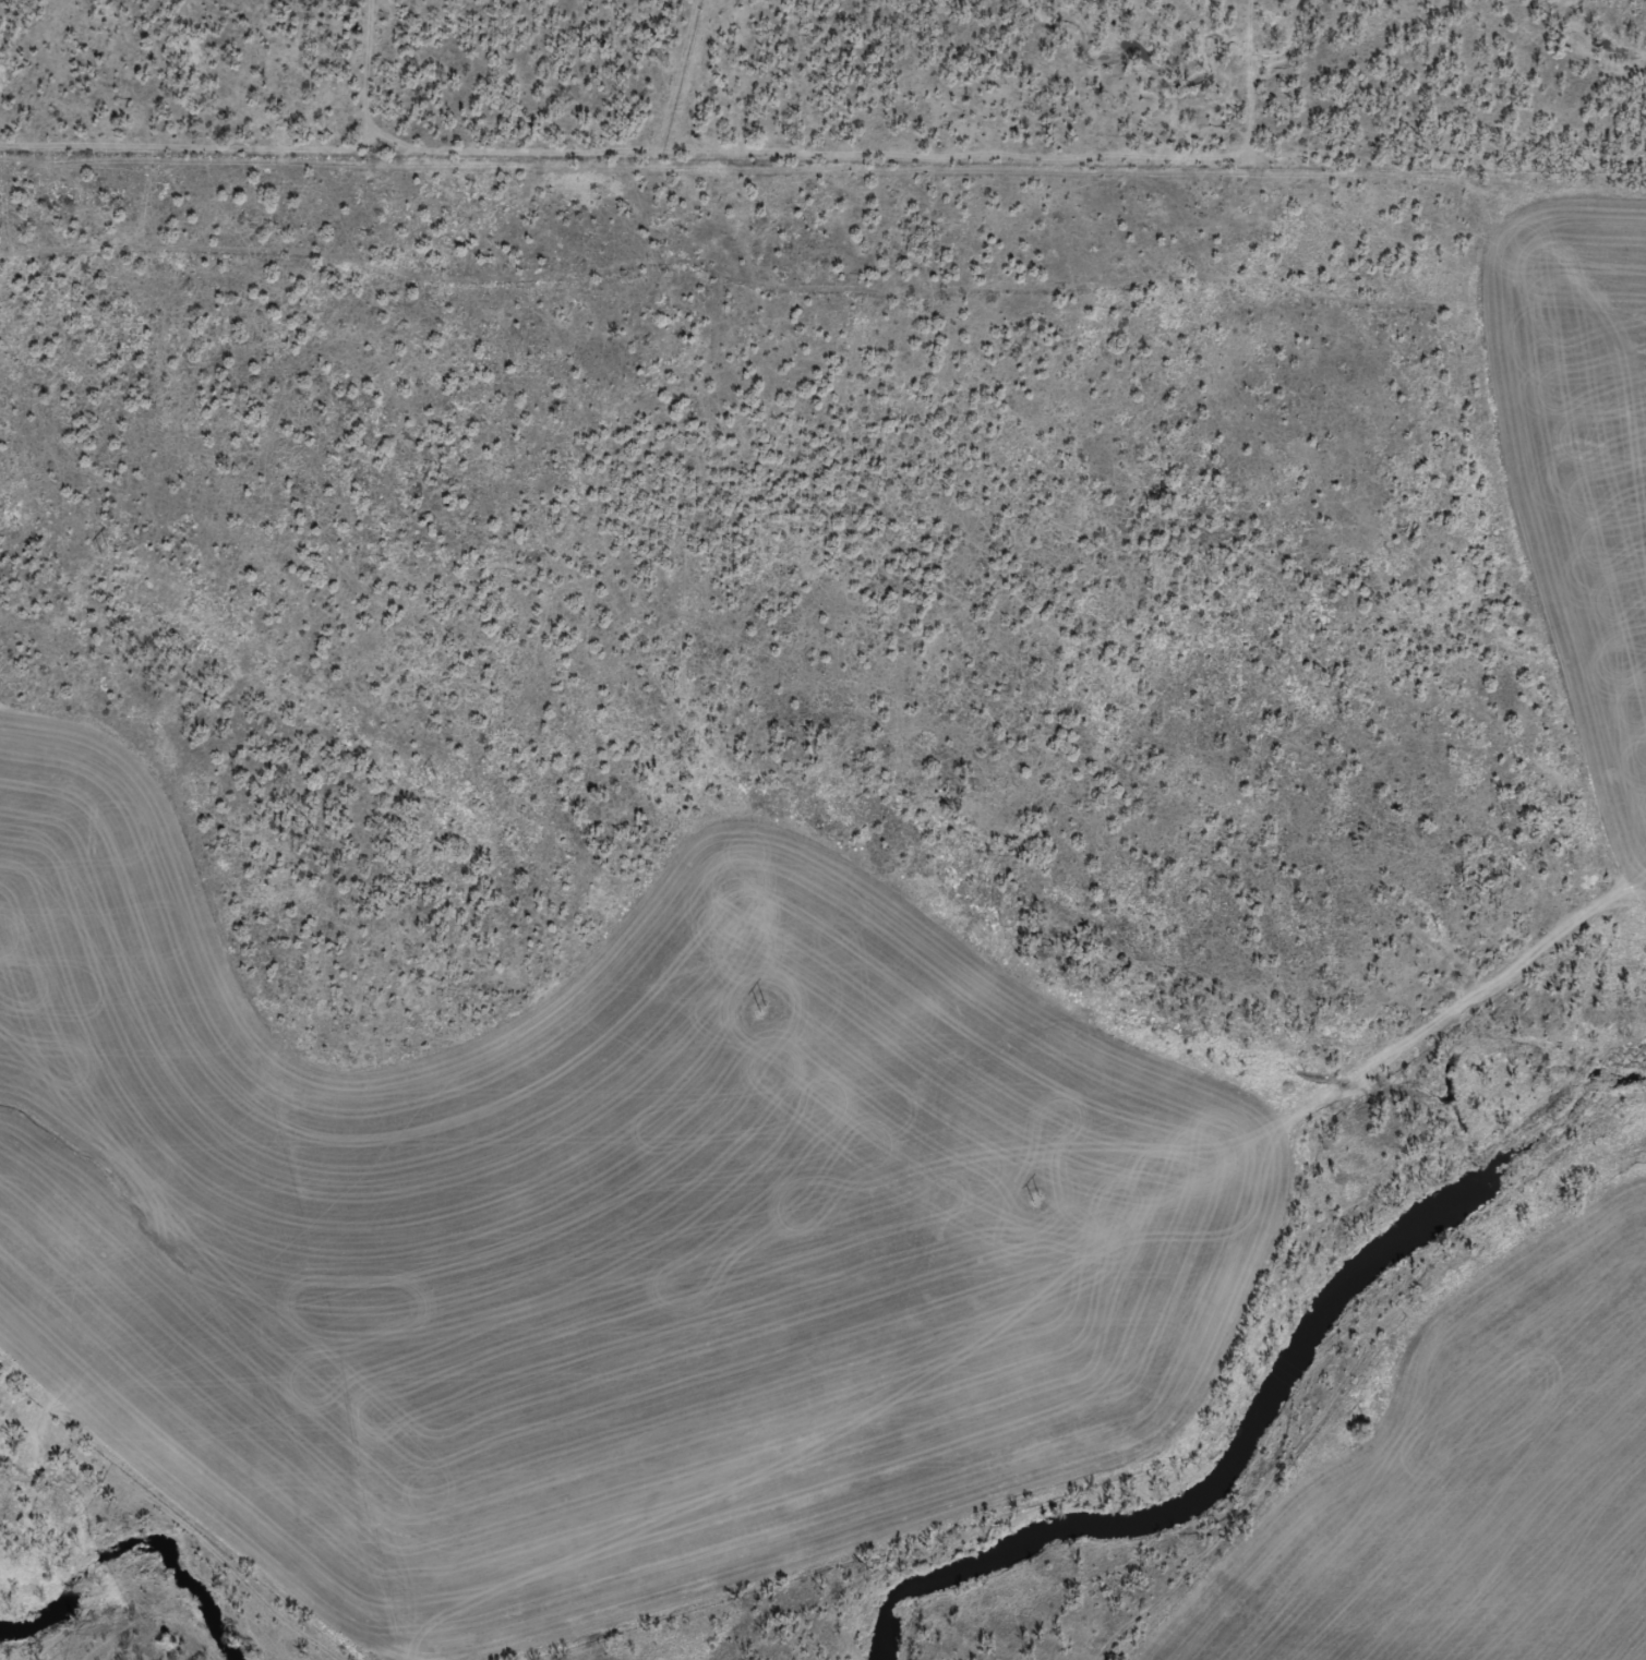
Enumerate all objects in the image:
power tower: (106, 553)
power tower: (430, 777)
power tower: (762, 1011)
power tower: (1040, 1201)
road: (972, 1278)
power tower: (1363, 1438)

